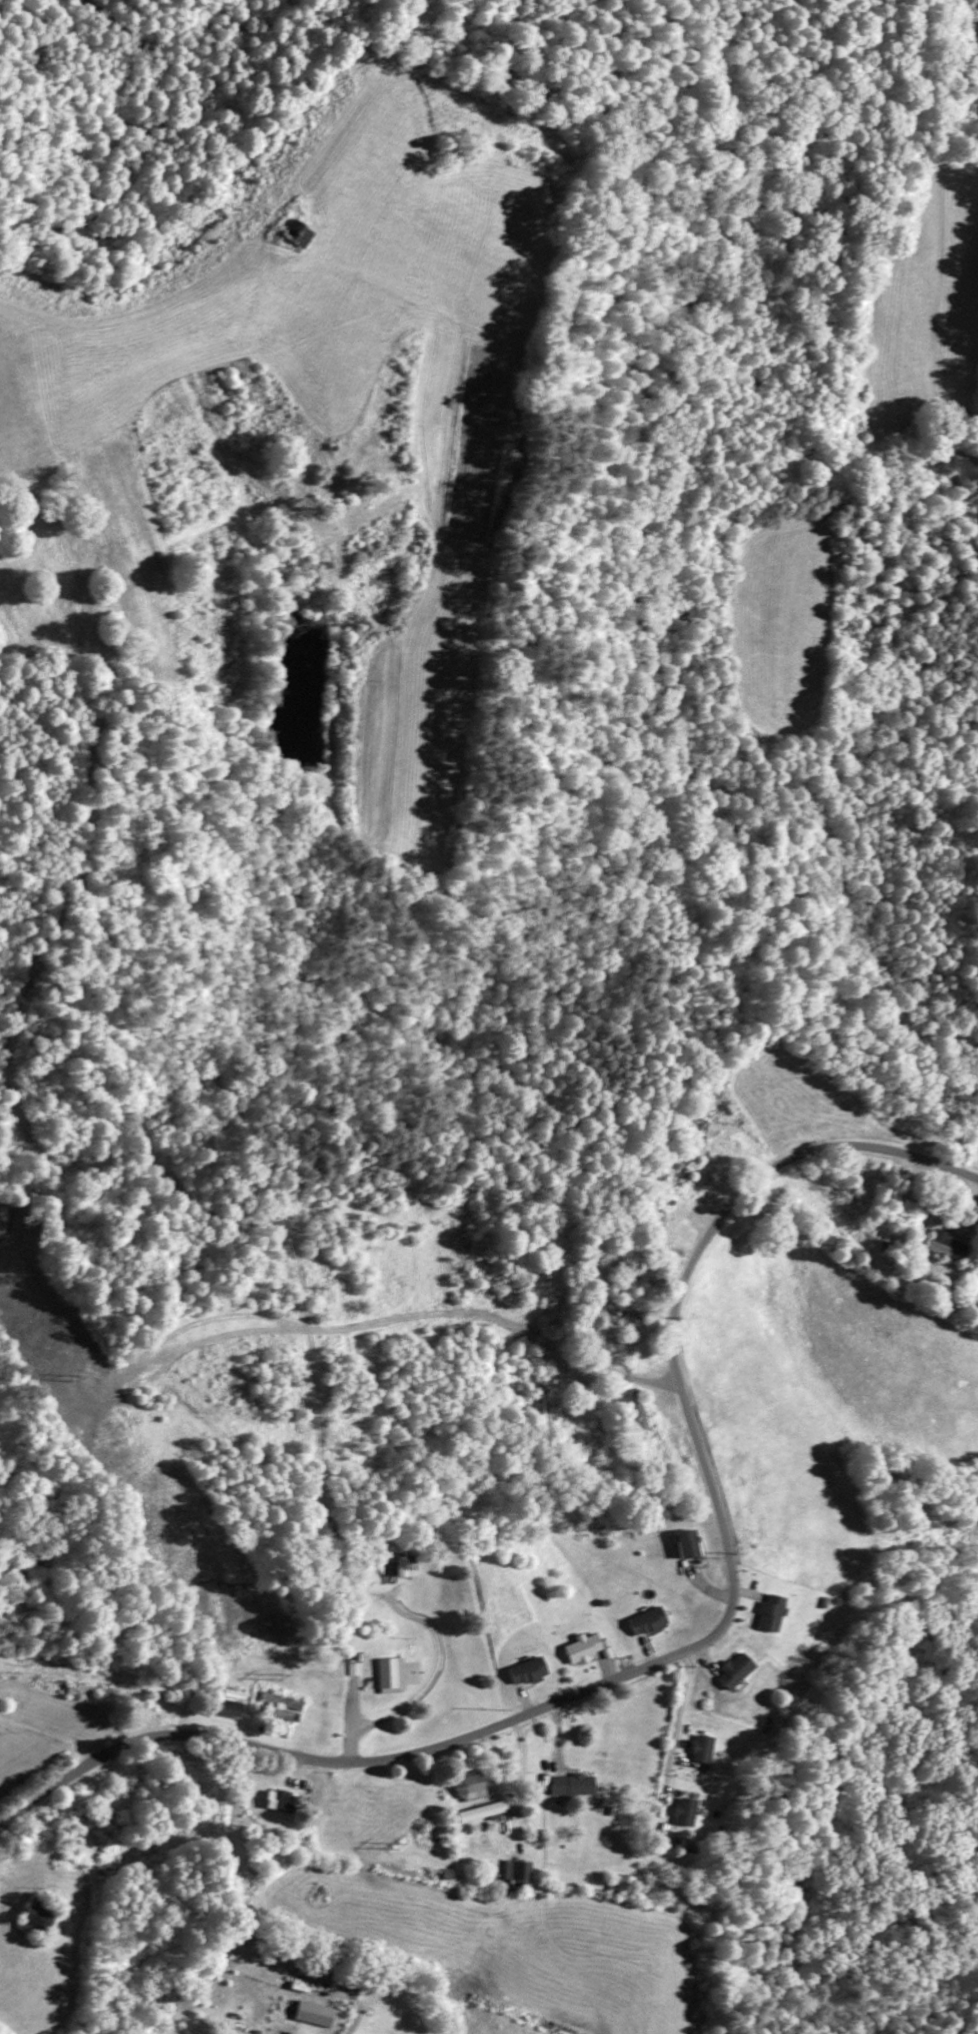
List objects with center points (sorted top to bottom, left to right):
road: (353, 122)
building: (297, 237)
road: (893, 274)
road: (933, 972)
building: (946, 1249)
building: (687, 1547)
building: (406, 1571)
building: (770, 1617)
building: (648, 1625)
road: (699, 1644)
building: (583, 1651)
building: (352, 1672)
building: (735, 1674)
building: (527, 1675)
building: (390, 1679)
building: (232, 1709)
building: (282, 1709)
building: (701, 1752)
building: (572, 1788)
building: (470, 1789)
building: (280, 1804)
building: (481, 1815)
building: (684, 1815)
building: (518, 1876)
building: (625, 1888)
building: (315, 2017)

